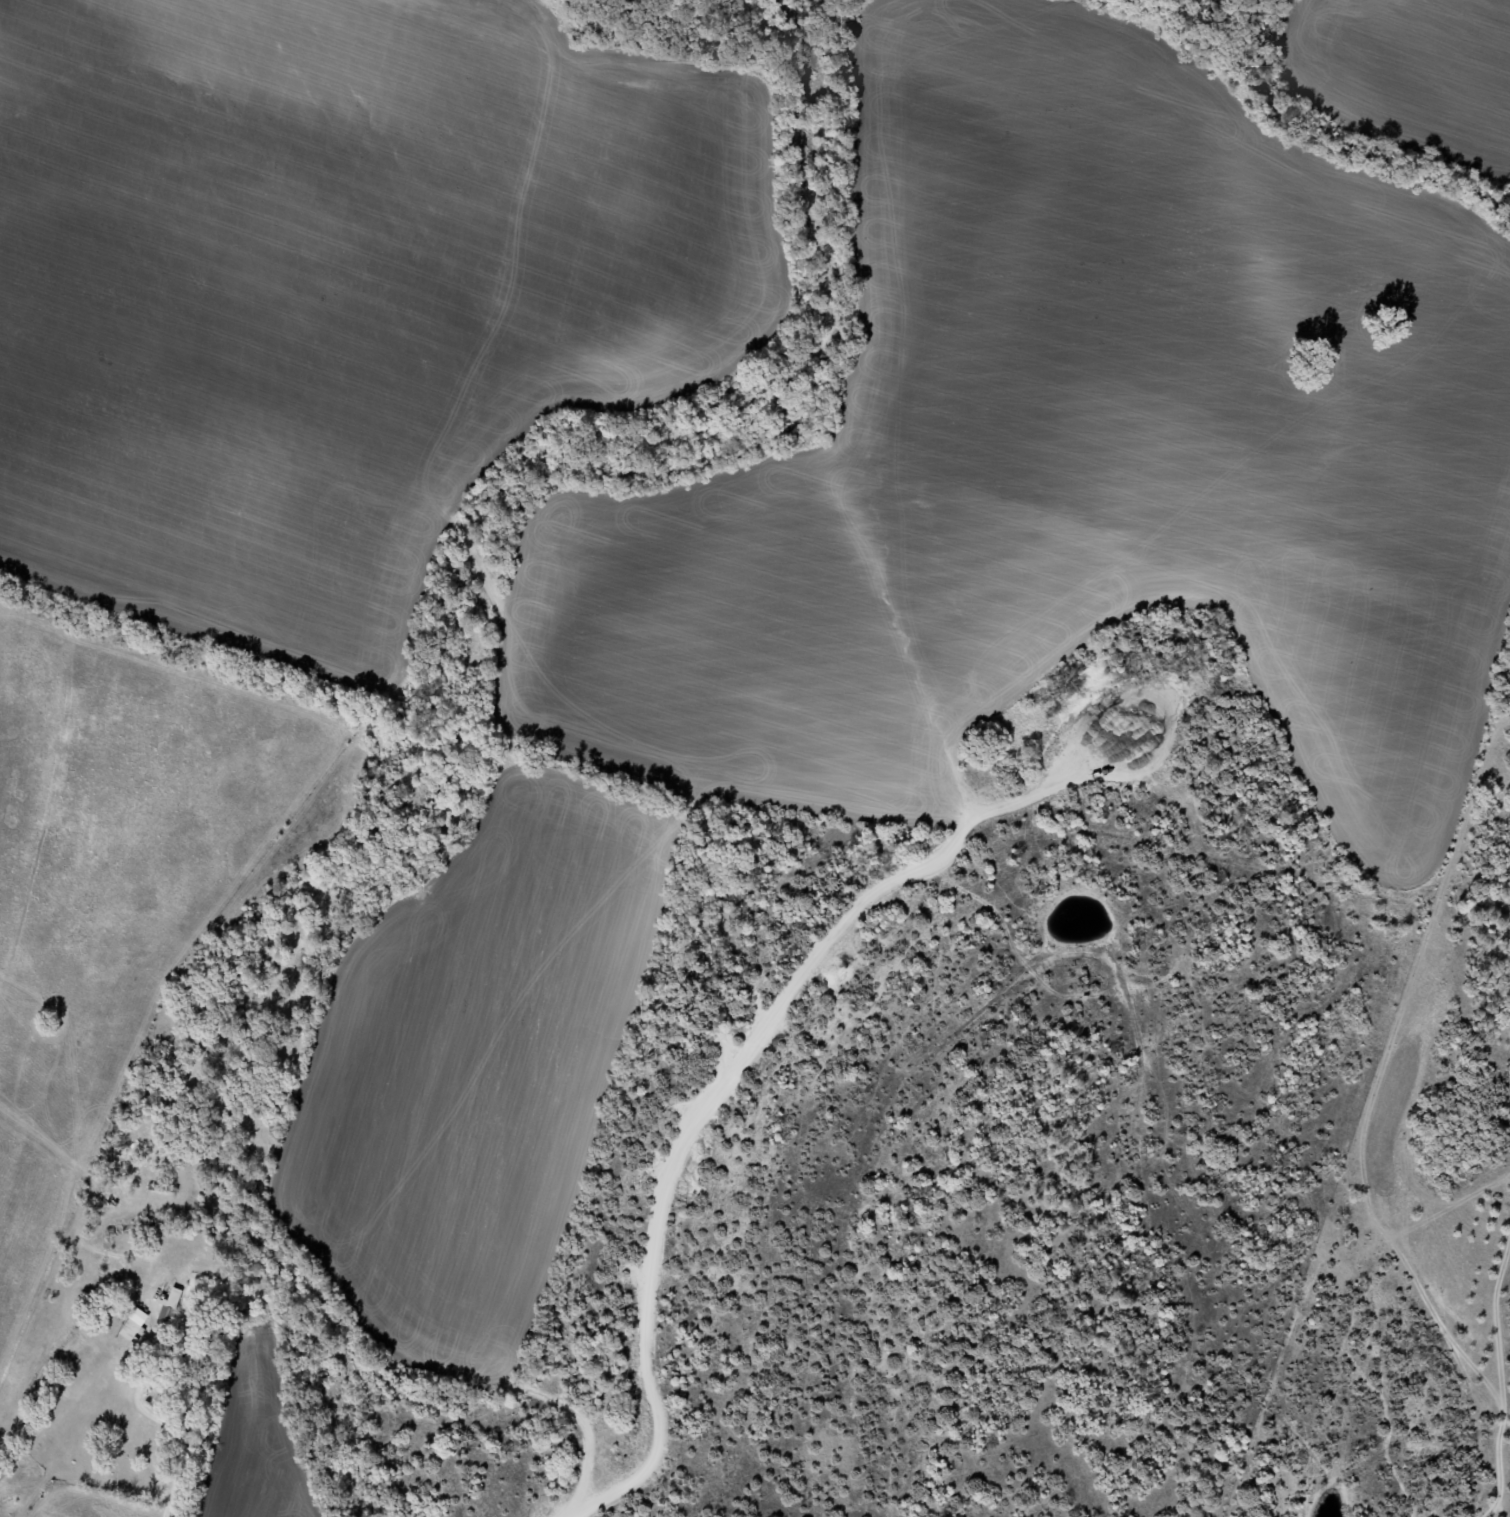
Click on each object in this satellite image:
building: (168, 1303)
building: (129, 1330)
building: (191, 1345)

